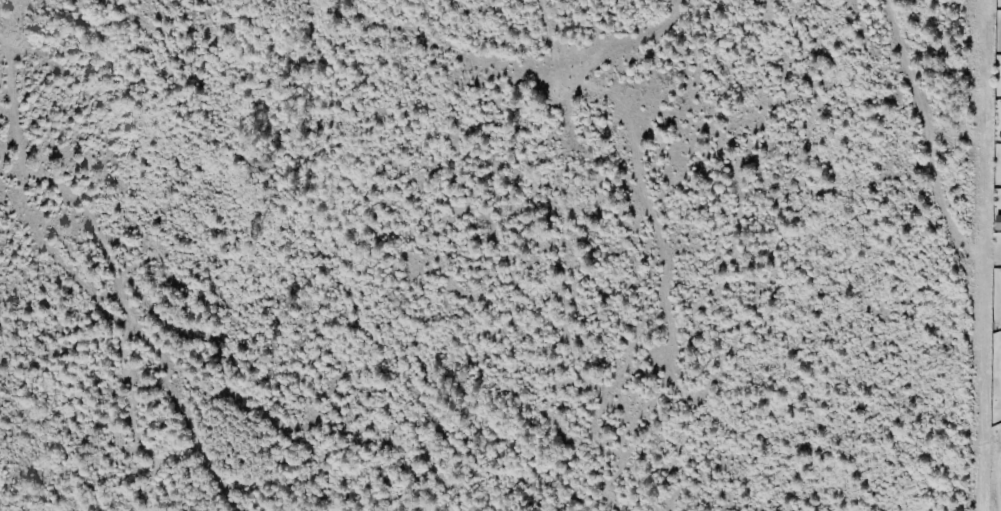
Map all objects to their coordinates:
road: (468, 68)
road: (552, 71)
building: (997, 222)
road: (954, 254)

